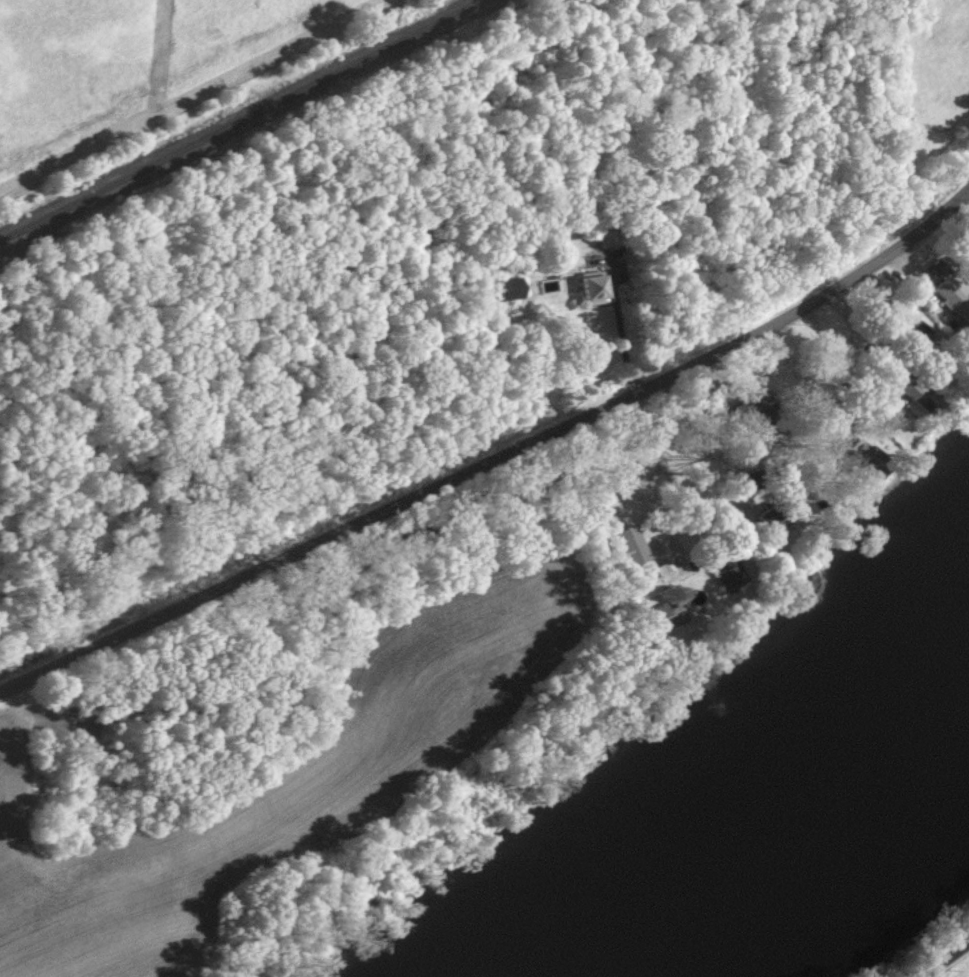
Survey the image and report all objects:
railway: (220, 104)
building: (606, 240)
building: (936, 269)
building: (589, 286)
building: (506, 288)
building: (952, 299)
road: (621, 322)
building: (907, 388)
building: (885, 409)
building: (757, 410)
road: (493, 443)
building: (862, 451)
road: (716, 452)
road: (658, 470)
building: (768, 518)
building: (630, 544)
building: (662, 567)
building: (730, 573)
building: (665, 613)
river: (790, 802)
road: (942, 957)

